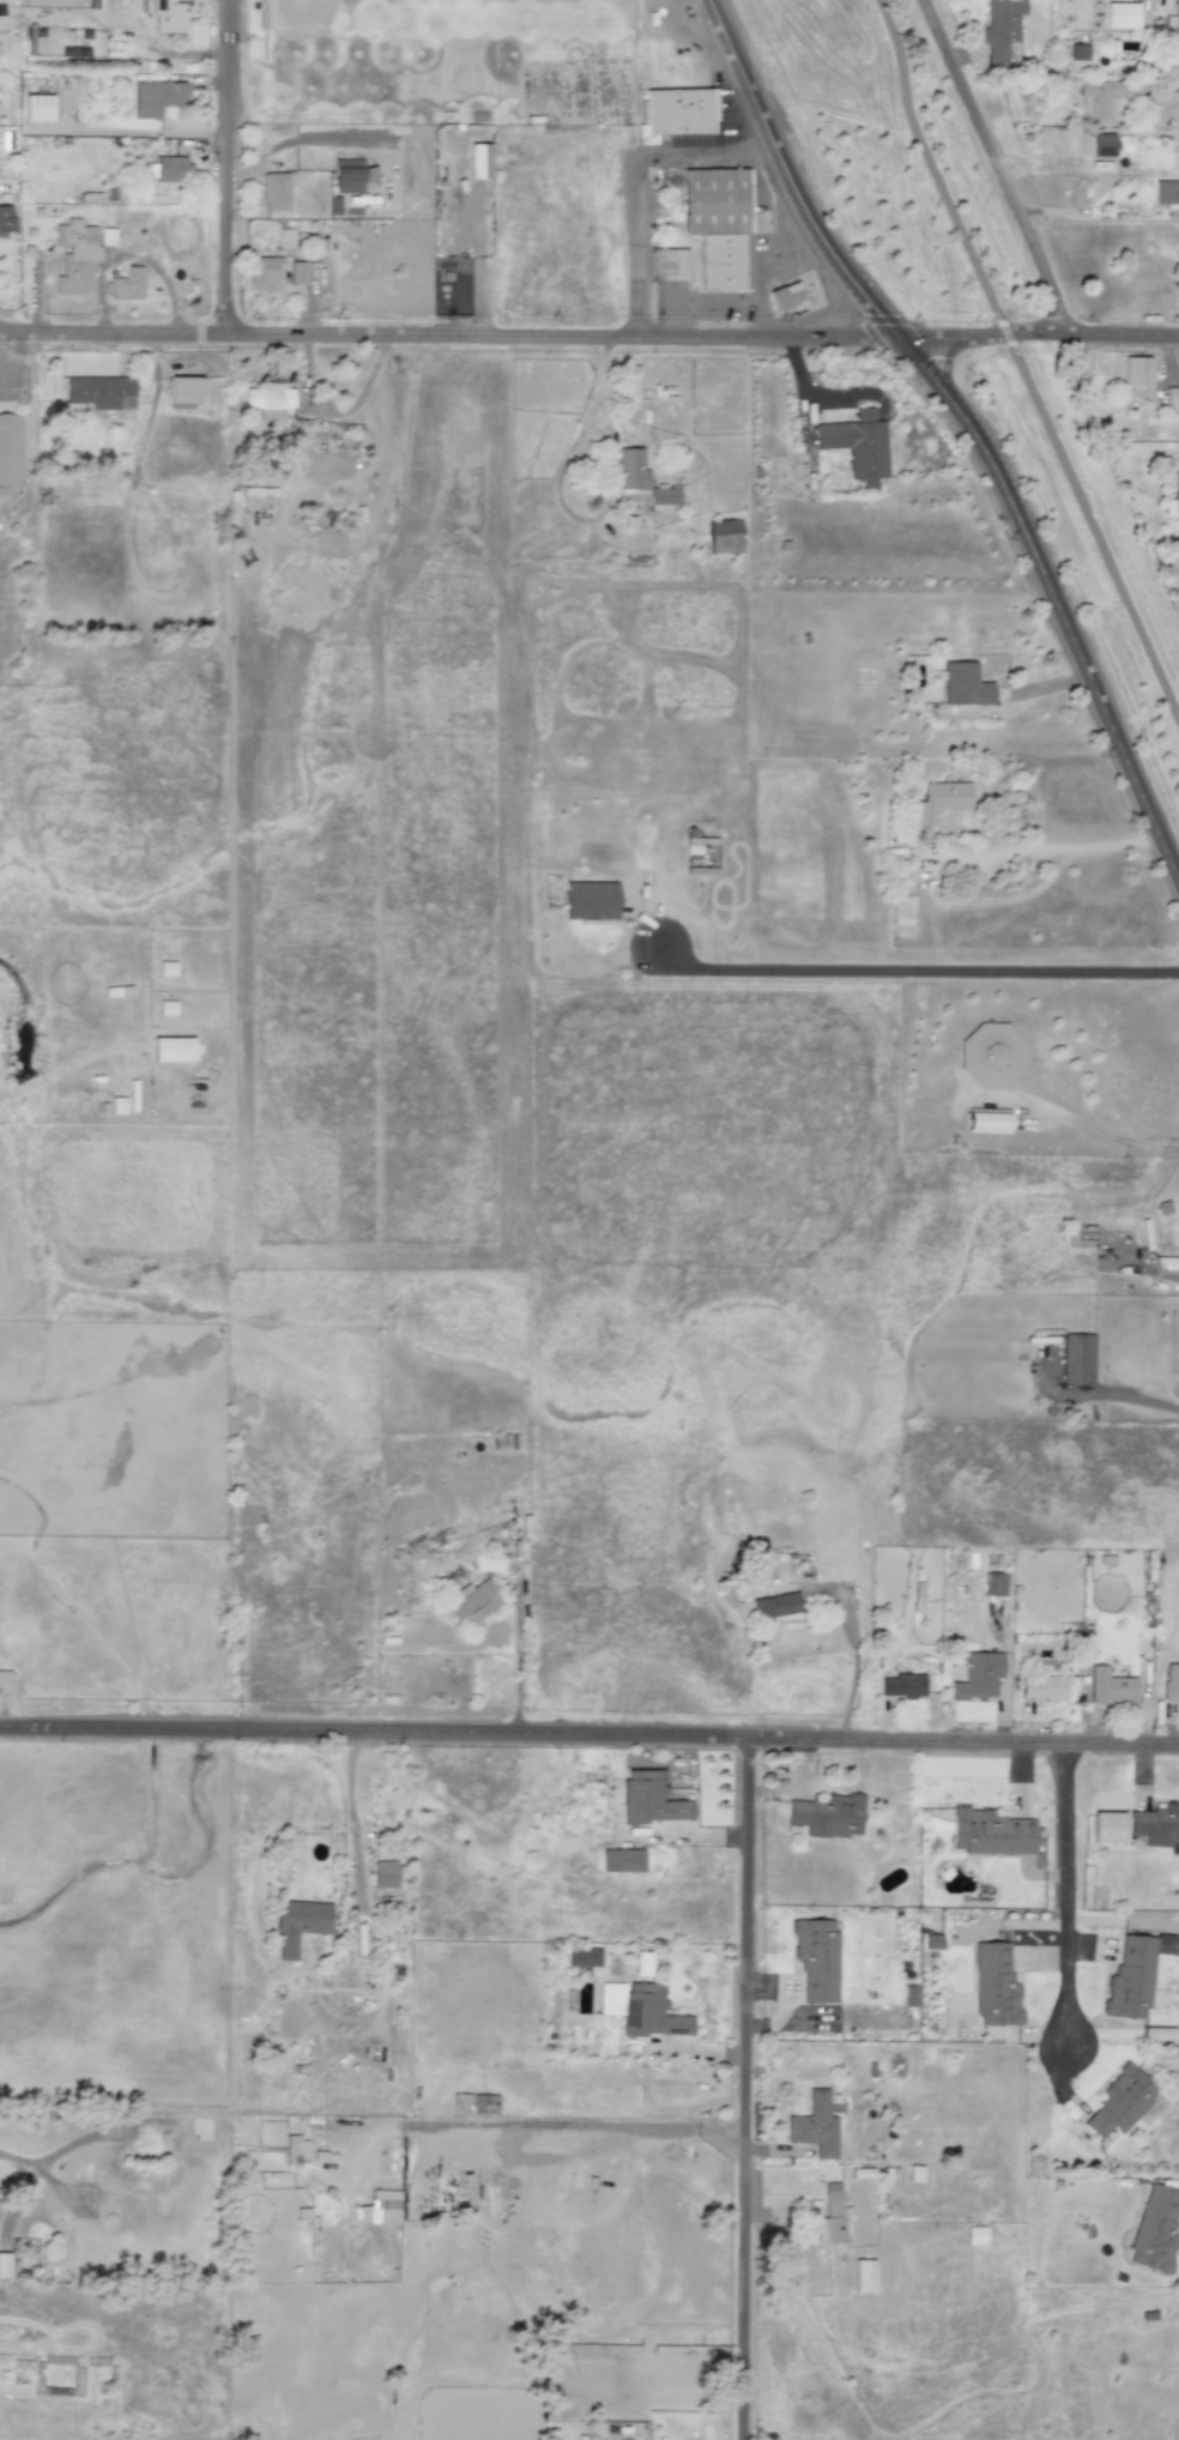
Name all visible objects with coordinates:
building: (1177, 13)
building: (167, 14)
building: (1120, 14)
building: (1000, 29)
building: (1178, 47)
building: (1078, 52)
building: (1106, 96)
building: (158, 97)
building: (37, 107)
building: (677, 113)
road: (303, 139)
building: (1105, 145)
road: (679, 155)
road: (769, 155)
road: (743, 158)
building: (465, 161)
building: (479, 161)
building: (169, 168)
road: (230, 169)
road: (998, 171)
building: (351, 175)
road: (766, 176)
road: (791, 180)
building: (274, 191)
building: (1167, 193)
building: (333, 205)
building: (6, 219)
building: (719, 224)
road: (778, 225)
building: (108, 236)
road: (637, 250)
building: (74, 255)
building: (670, 264)
building: (262, 268)
building: (297, 271)
building: (787, 296)
road: (712, 301)
road: (670, 321)
road: (754, 321)
road: (115, 338)
road: (705, 342)
road: (17, 362)
road: (1018, 363)
building: (1136, 376)
building: (101, 392)
building: (185, 392)
building: (1172, 395)
building: (268, 400)
building: (857, 445)
building: (10, 451)
building: (630, 469)
building: (664, 496)
building: (1173, 497)
building: (724, 536)
road: (1052, 602)
building: (965, 684)
building: (939, 801)
road: (1041, 846)
building: (589, 900)
road: (917, 965)
building: (167, 1009)
building: (173, 1049)
building: (991, 1055)
building: (986, 1121)
road: (1110, 1135)
road: (1169, 1266)
building: (1076, 1359)
building: (416, 1550)
building: (993, 1584)
building: (471, 1603)
building: (776, 1605)
road: (853, 1644)
road: (518, 1662)
building: (978, 1677)
building: (4, 1679)
building: (1171, 1683)
building: (901, 1685)
building: (1110, 1686)
building: (1042, 1687)
road: (111, 1737)
road: (702, 1740)
building: (649, 1799)
building: (827, 1816)
building: (1156, 1825)
building: (990, 1832)
building: (622, 1860)
building: (383, 1873)
road: (356, 1882)
road: (1065, 1900)
building: (297, 1925)
building: (582, 1956)
building: (816, 1958)
building: (1133, 1974)
building: (994, 1986)
building: (641, 2009)
building: (1178, 2064)
road: (748, 2090)
building: (1121, 2102)
building: (816, 2125)
building: (296, 2149)
building: (830, 2216)
building: (4, 2264)
building: (863, 2275)

